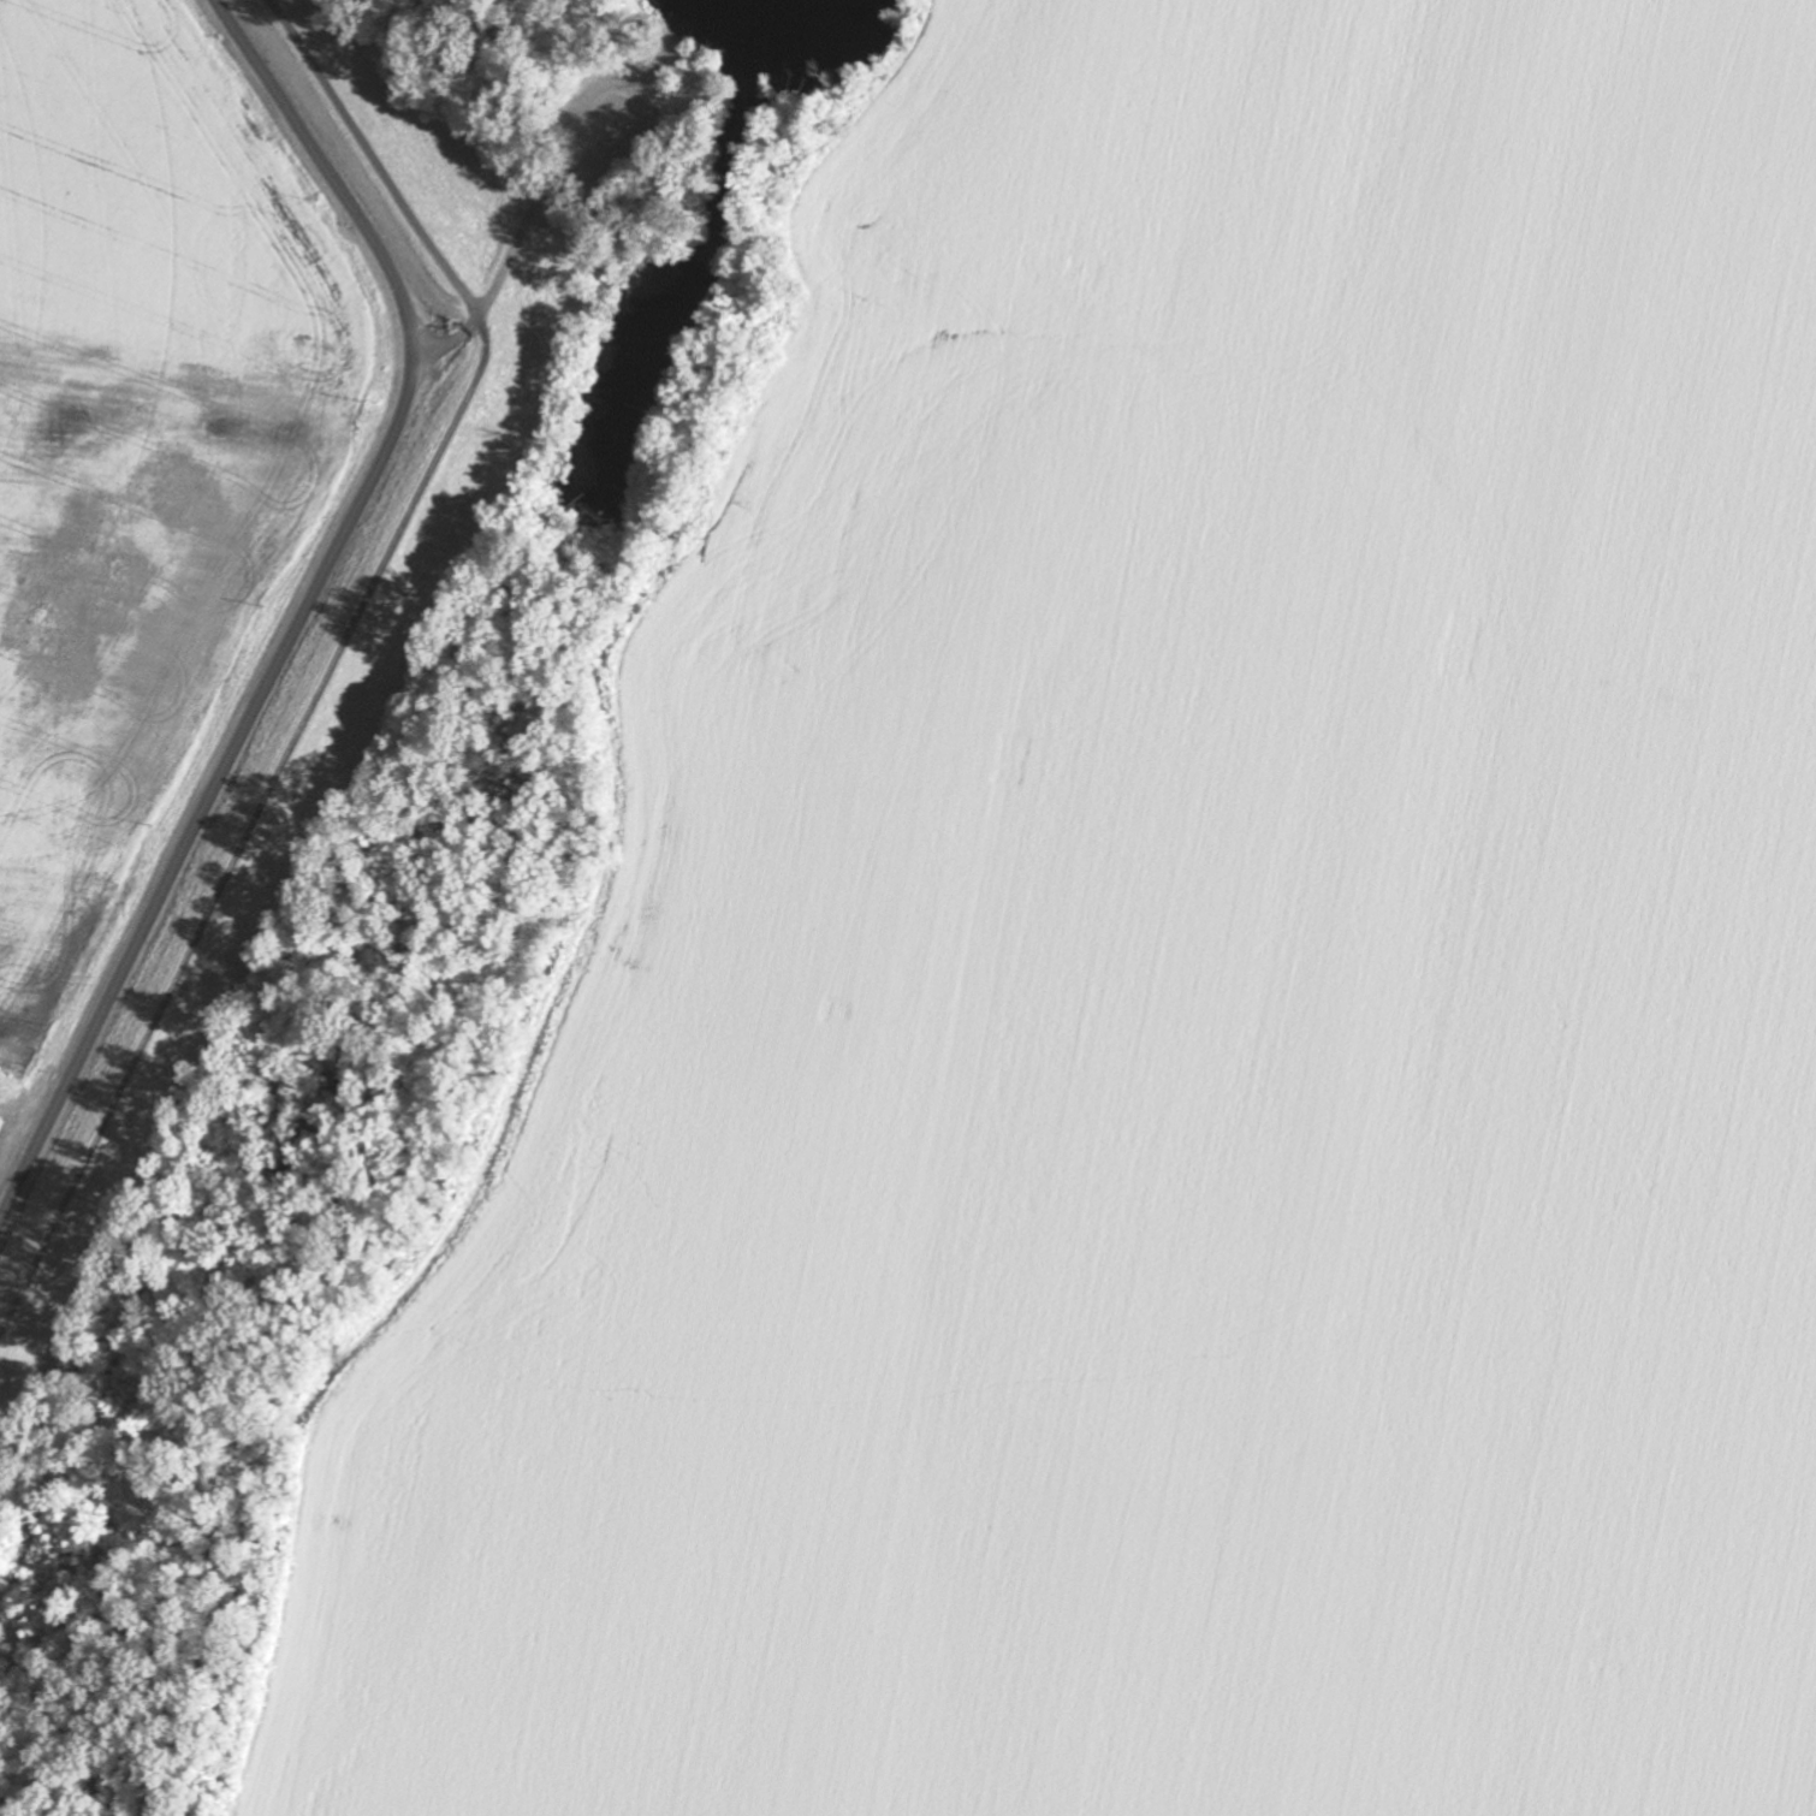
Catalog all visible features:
road: (615, 112)
road: (373, 159)
road: (511, 249)
road: (445, 342)
road: (303, 604)
road: (253, 832)

